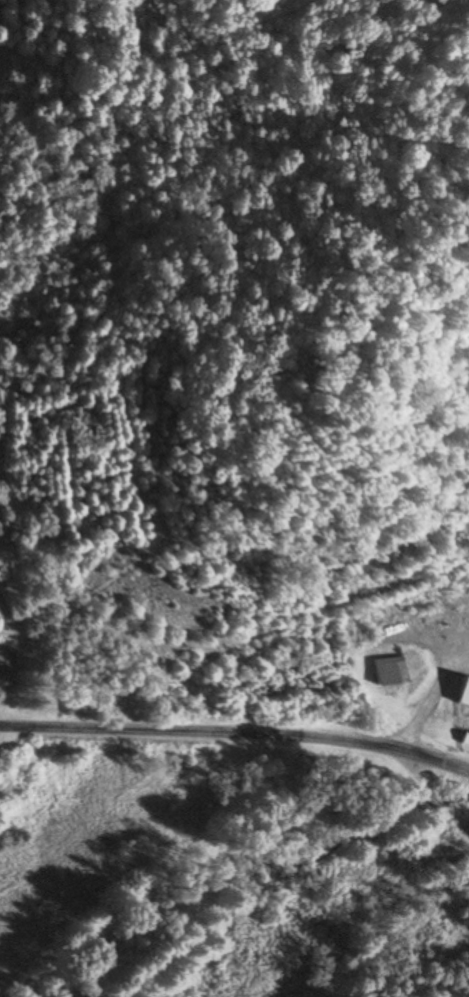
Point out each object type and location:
building: (389, 672)
building: (3, 679)
building: (463, 693)
road: (237, 730)

